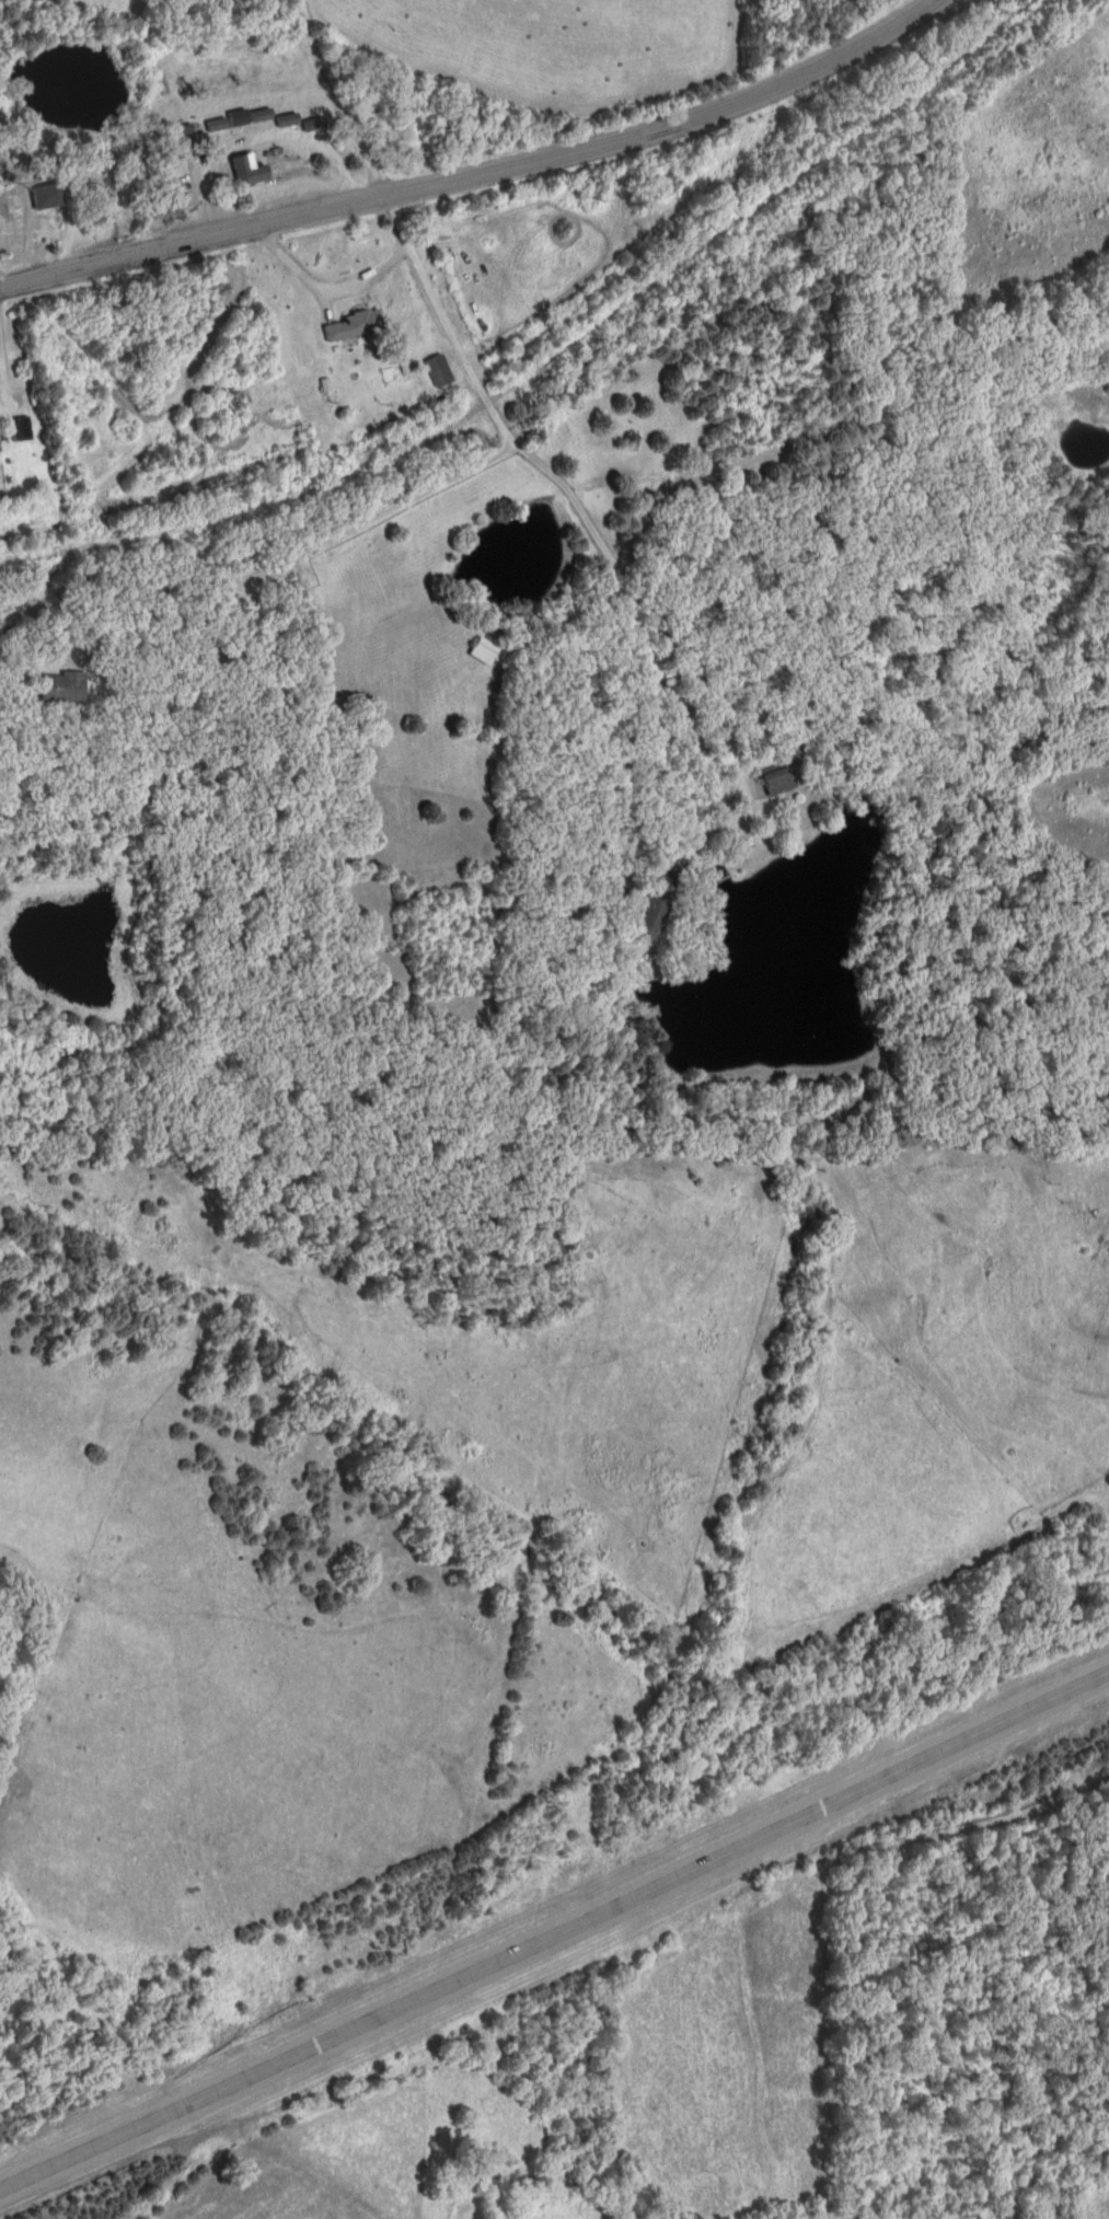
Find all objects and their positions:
road: (335, 99)
building: (250, 118)
building: (288, 120)
building: (315, 125)
building: (218, 126)
building: (195, 141)
building: (250, 172)
road: (481, 172)
building: (48, 197)
building: (354, 326)
railway: (555, 354)
building: (440, 370)
road: (408, 495)
building: (485, 651)
building: (63, 687)
road: (172, 689)
road: (409, 762)
building: (779, 782)
building: (652, 915)
road: (555, 1937)

